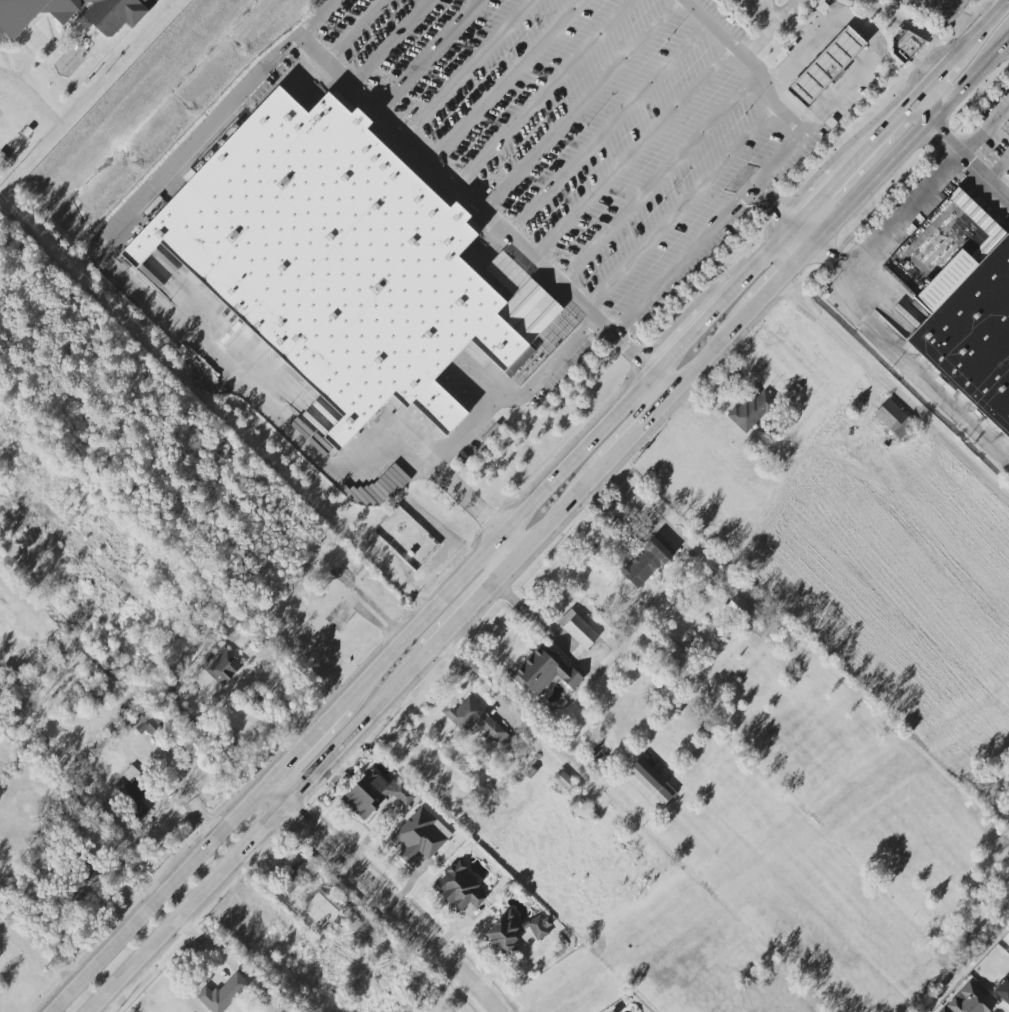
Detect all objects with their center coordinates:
road: (758, 8)
gas station: (947, 9)
building: (74, 13)
road: (753, 13)
road: (781, 14)
road: (952, 17)
road: (865, 29)
road: (349, 30)
road: (724, 41)
road: (389, 43)
building: (905, 44)
road: (428, 56)
building: (824, 66)
gas station: (832, 66)
road: (468, 69)
road: (507, 81)
road: (543, 92)
road: (580, 105)
road: (919, 113)
road: (220, 114)
road: (805, 119)
parking lot: (584, 126)
road: (607, 129)
road: (985, 129)
building: (27, 131)
parking lot: (988, 140)
road: (633, 153)
road: (968, 160)
road: (998, 168)
road: (445, 176)
road: (659, 178)
road: (685, 203)
road: (773, 207)
building: (970, 208)
road: (902, 212)
road: (803, 235)
road: (684, 259)
building: (341, 260)
road: (846, 272)
building: (145, 273)
building: (979, 340)
road: (627, 344)
road: (914, 367)
road: (665, 380)
road: (638, 393)
road: (250, 395)
road: (517, 400)
building: (752, 410)
building: (893, 419)
road: (607, 455)
road: (465, 501)
road: (509, 544)
building: (646, 562)
building: (739, 610)
road: (533, 616)
building: (578, 629)
building: (221, 665)
building: (543, 671)
road: (475, 677)
road: (270, 686)
building: (145, 720)
road: (255, 720)
building: (475, 721)
building: (565, 782)
building: (649, 783)
building: (131, 791)
building: (374, 794)
building: (419, 836)
building: (294, 877)
building: (459, 887)
road: (386, 896)
road: (158, 897)
building: (326, 909)
building: (513, 932)
road: (153, 947)
building: (1008, 951)
building: (1003, 990)
building: (223, 993)
building: (969, 1000)
building: (277, 1007)
building: (943, 1010)

